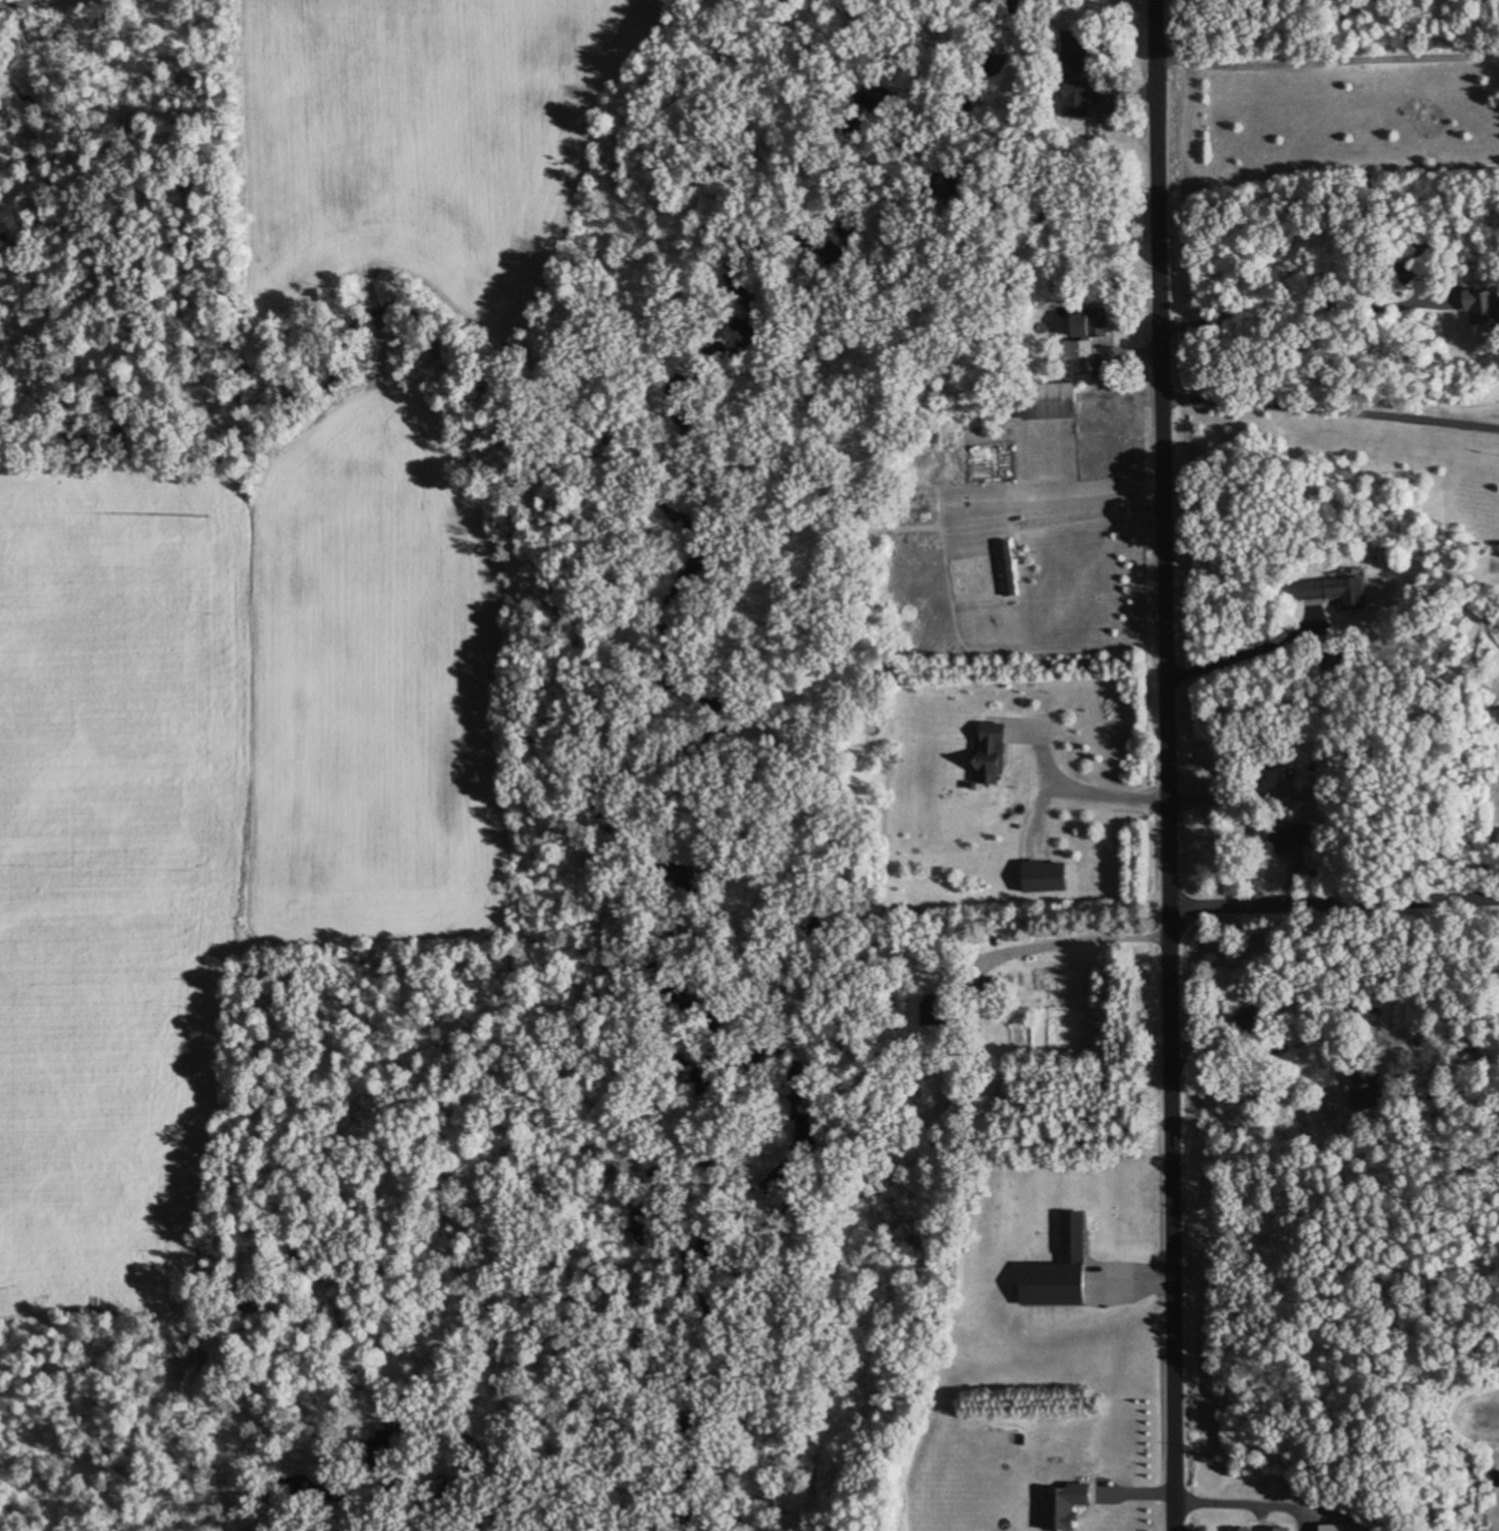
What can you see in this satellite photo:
building: (1064, 52)
road: (1328, 79)
building: (1066, 98)
crop: (421, 135)
building: (1477, 307)
building: (1088, 321)
building: (1071, 357)
building: (1038, 402)
road: (1331, 412)
building: (918, 436)
building: (1003, 567)
building: (1329, 591)
building: (980, 756)
road: (1168, 765)
crop: (219, 813)
building: (1274, 837)
road: (1334, 899)
building: (1240, 1018)
building: (1358, 1088)
building: (1051, 1268)
building: (1236, 1529)

